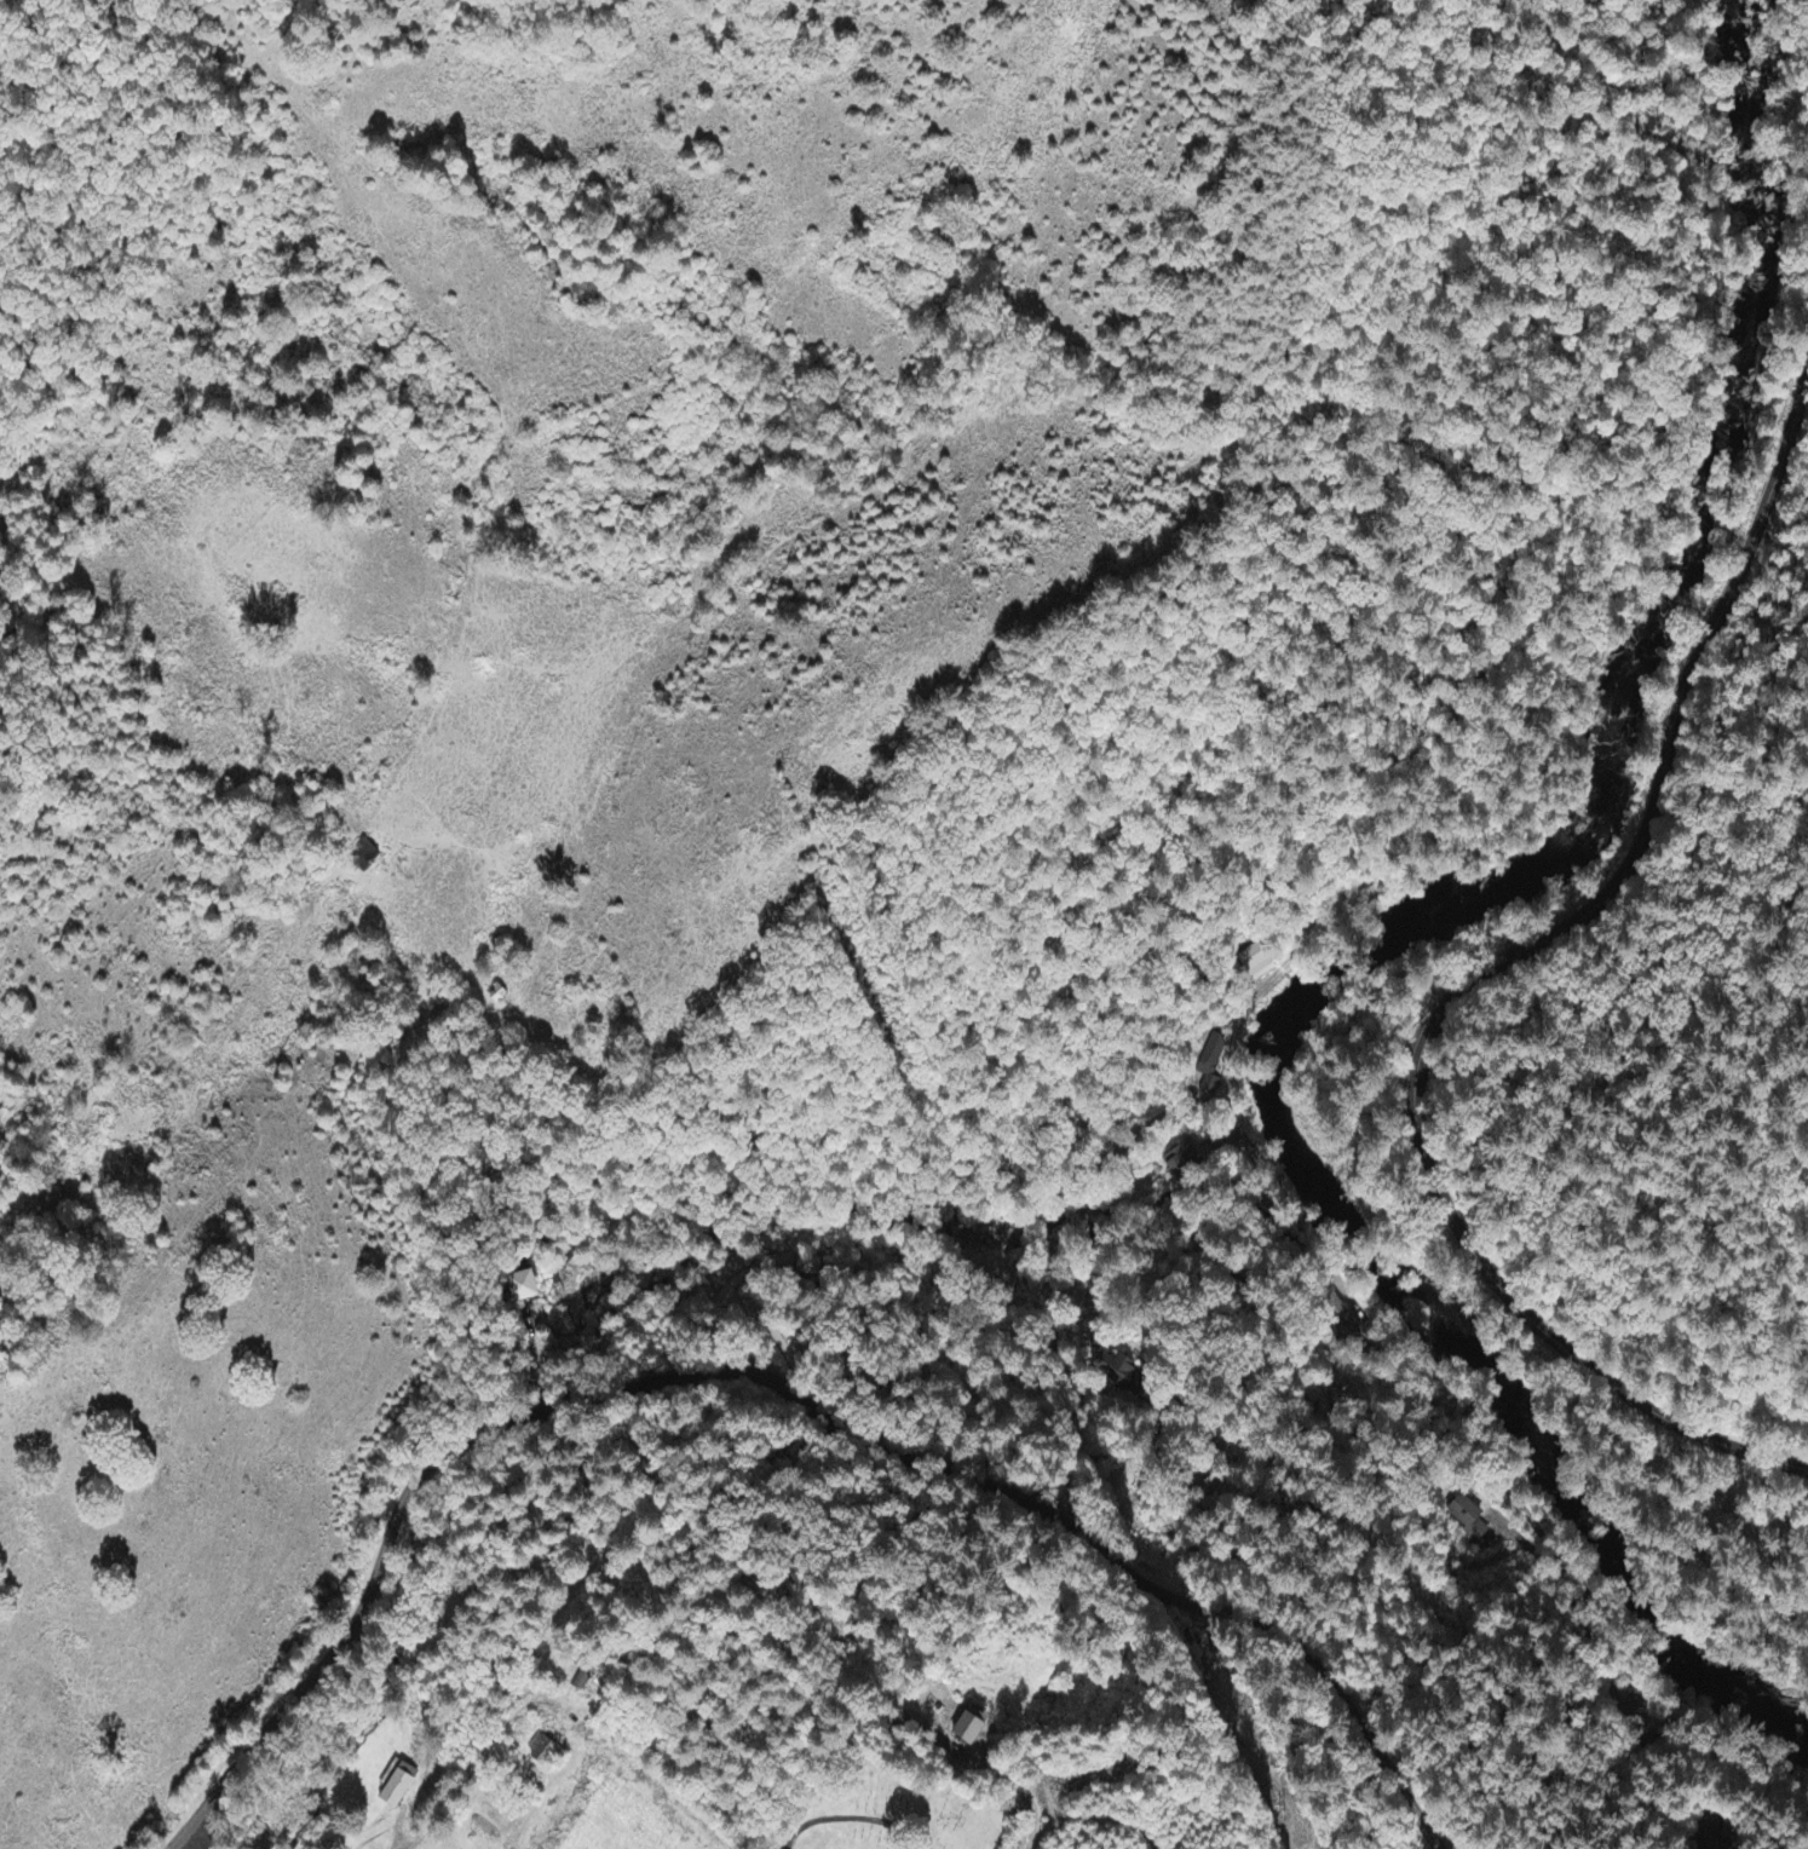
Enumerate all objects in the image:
river: (1605, 692)
road: (1495, 966)
road: (1231, 1053)
building: (1210, 1065)
road: (1306, 1232)
building: (522, 1289)
road: (537, 1360)
building: (1109, 1369)
road: (562, 1404)
river: (1555, 1488)
road: (1060, 1517)
building: (1467, 1517)
road: (1542, 1549)
road: (363, 1609)
building: (967, 1732)
building: (393, 1787)
park: (887, 1808)
road: (852, 1822)
road: (179, 1843)
road: (190, 1843)

